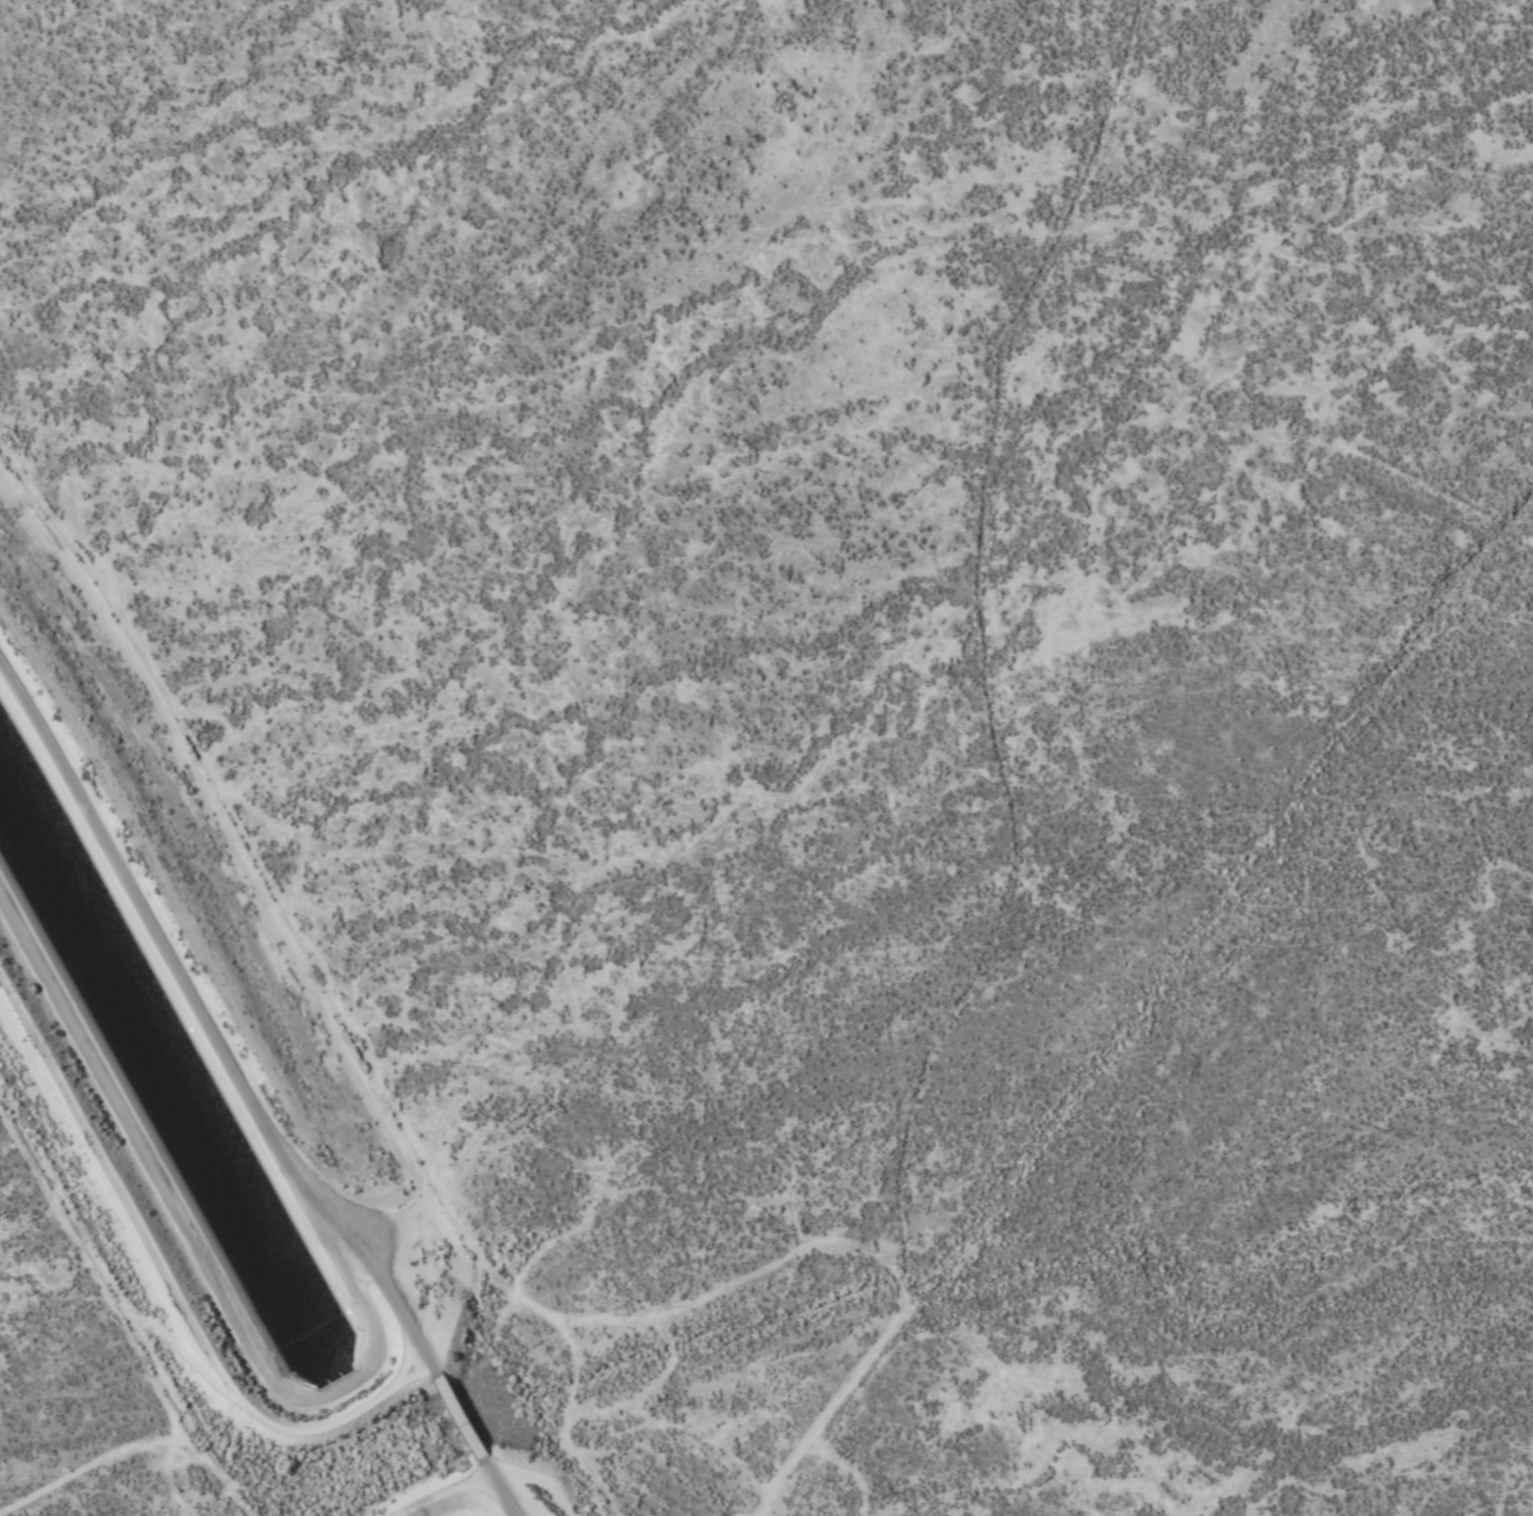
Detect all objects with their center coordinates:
crop: (874, 684)
road: (248, 1097)
road: (169, 1285)

